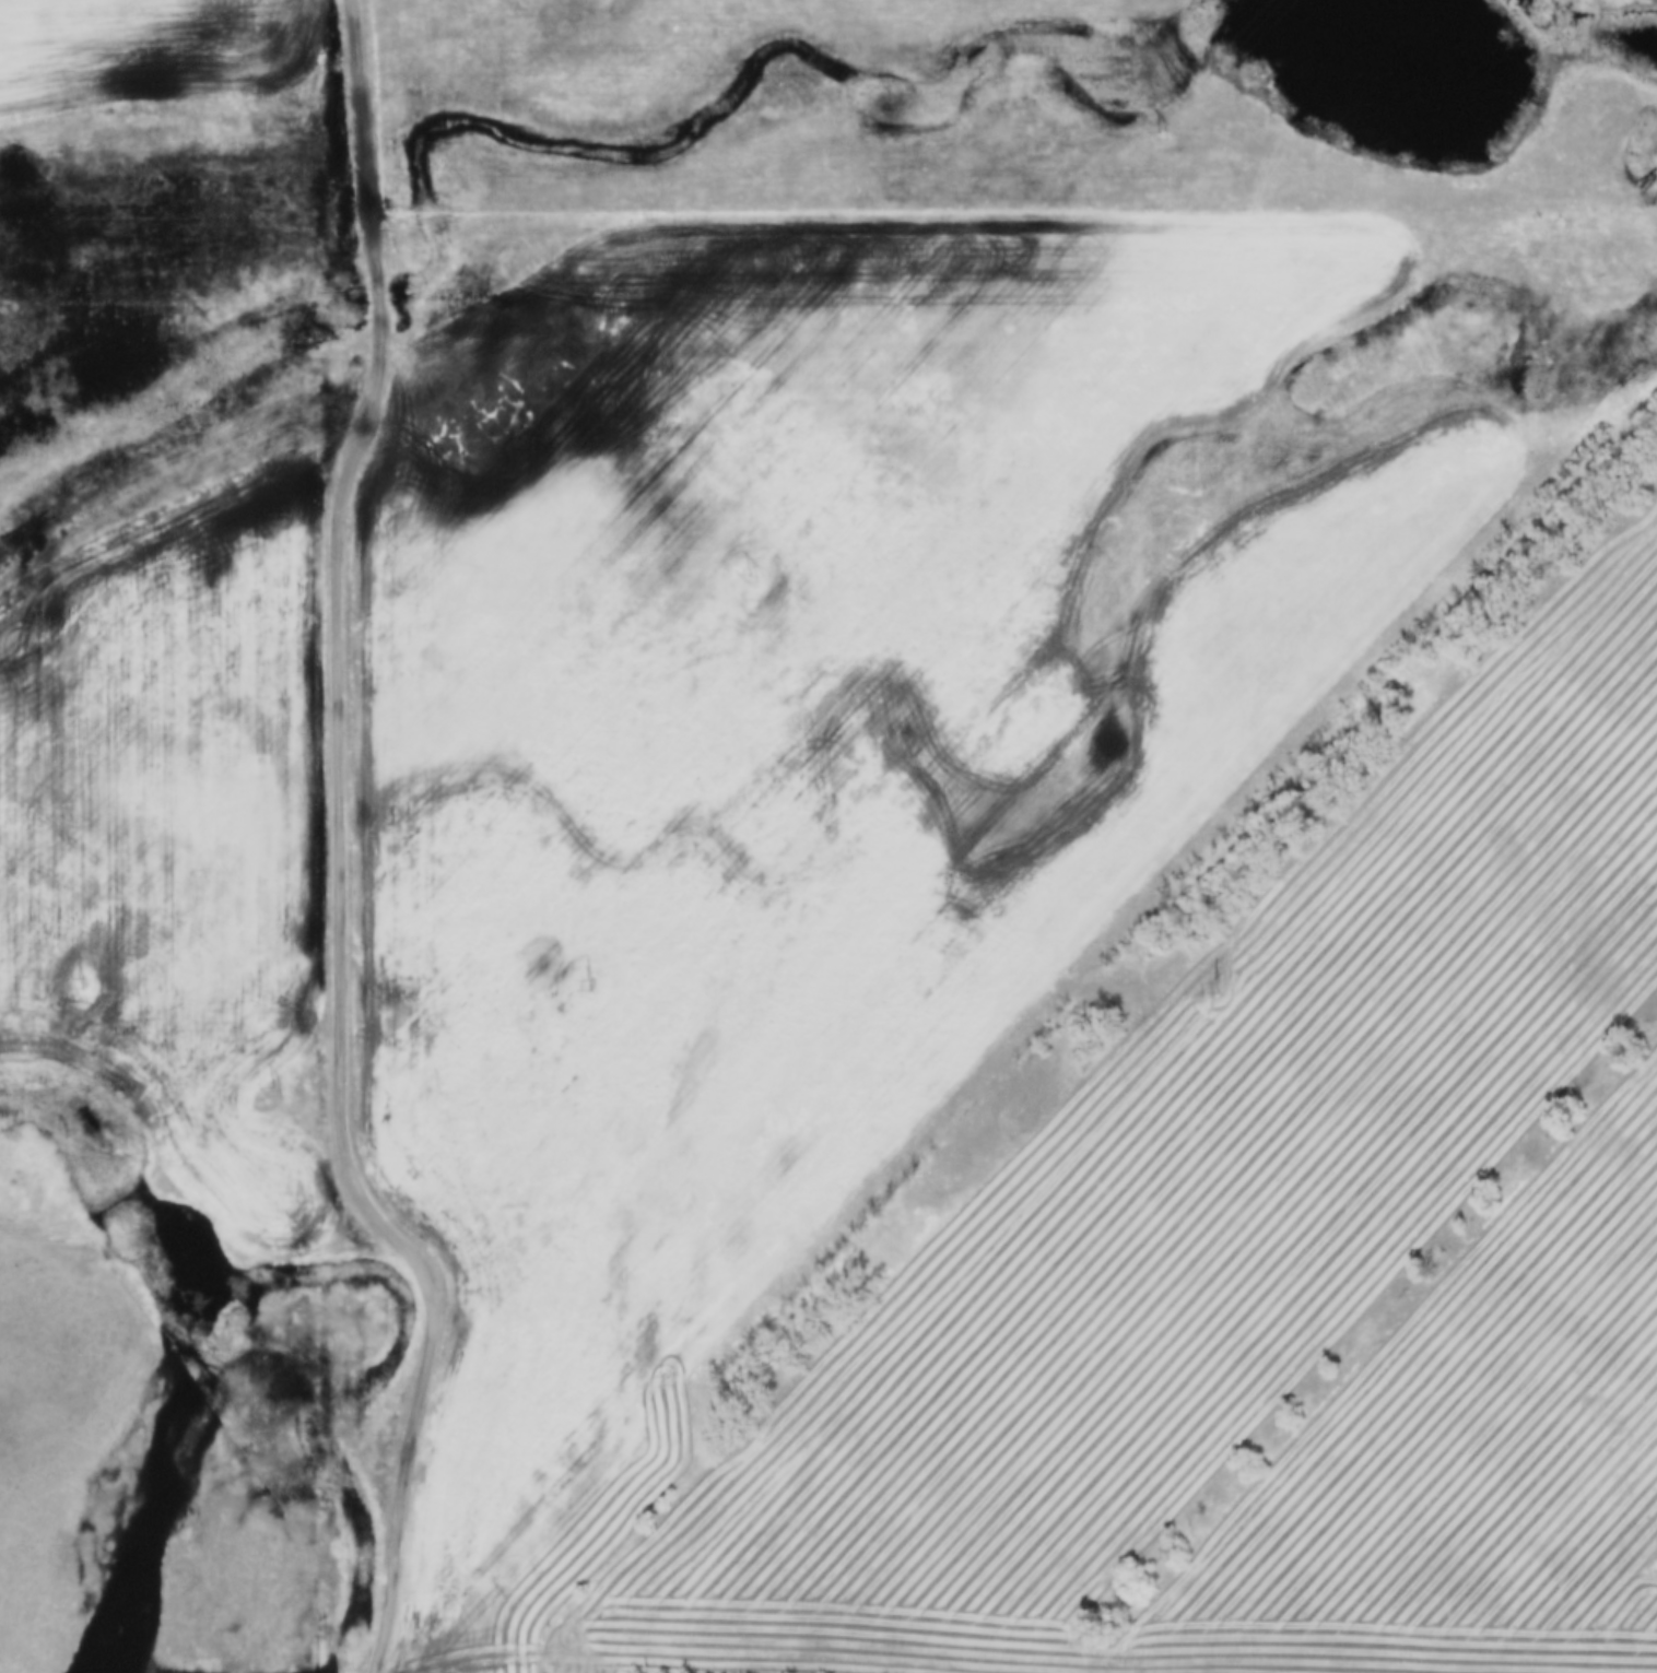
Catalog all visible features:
power tower: (1165, 137)
power tower: (755, 579)
road: (340, 848)
power tower: (274, 1091)

